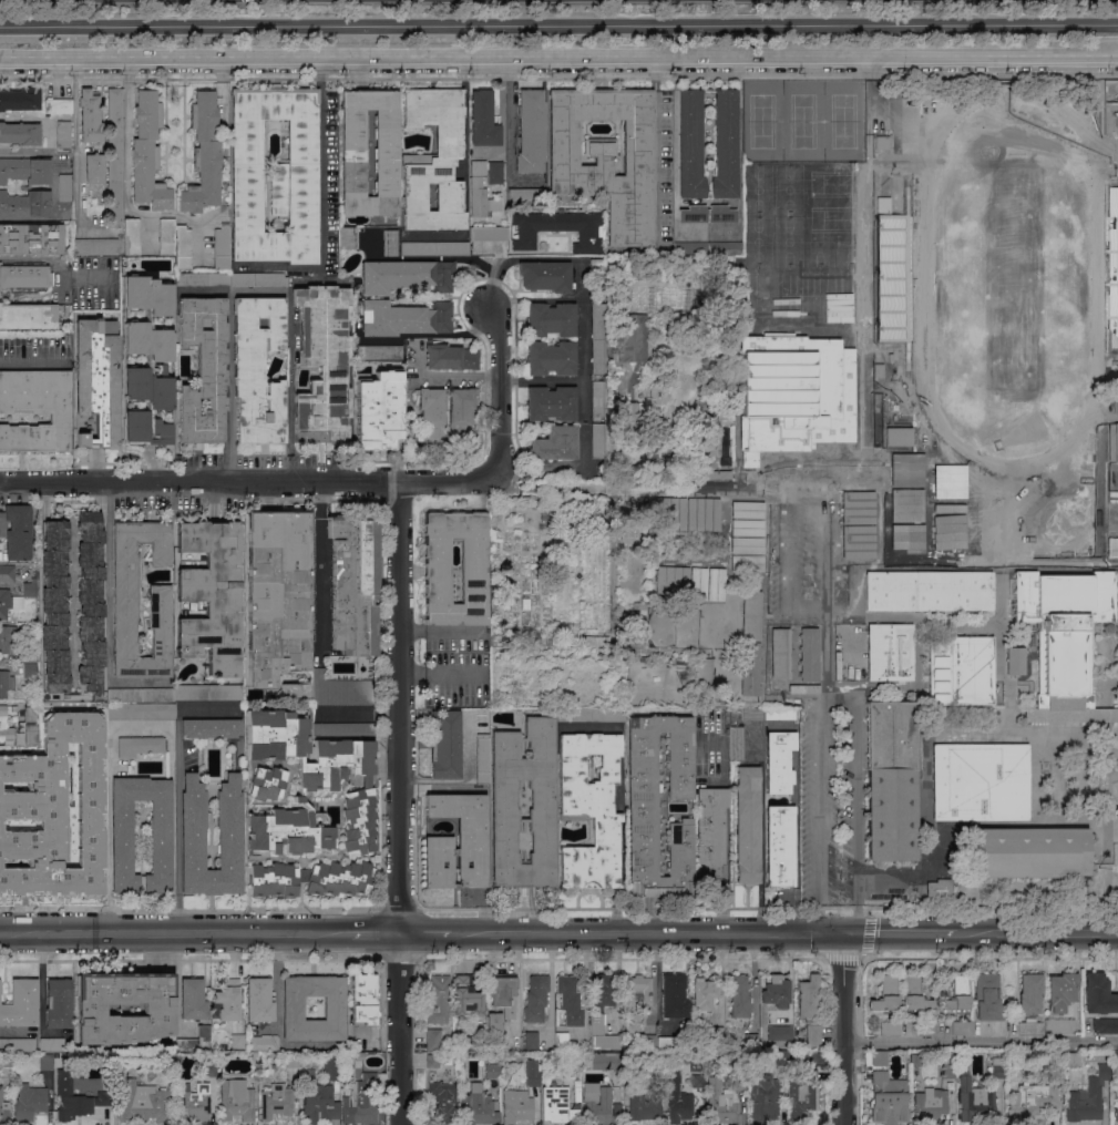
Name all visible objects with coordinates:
road: (558, 55)
road: (558, 76)
building: (20, 99)
building: (59, 105)
park: (1117, 108)
building: (90, 115)
building: (483, 120)
park: (762, 122)
park: (802, 122)
park: (842, 122)
building: (531, 131)
building: (20, 133)
building: (64, 134)
building: (882, 143)
building: (690, 144)
building: (725, 144)
road: (656, 145)
building: (147, 153)
building: (204, 155)
building: (606, 156)
building: (114, 157)
building: (434, 160)
building: (353, 161)
building: (94, 167)
building: (25, 170)
building: (495, 172)
building: (276, 174)
building: (65, 181)
road: (125, 190)
road: (321, 190)
building: (482, 193)
building: (65, 194)
building: (526, 195)
building: (884, 203)
building: (25, 204)
park: (95, 206)
building: (694, 213)
building: (721, 214)
park: (783, 222)
building: (560, 228)
building: (490, 234)
building: (132, 236)
building: (166, 236)
building: (348, 237)
building: (31, 238)
building: (390, 243)
building: (99, 245)
building: (183, 247)
building: (222, 247)
building: (725, 247)
building: (434, 248)
building: (690, 248)
building: (667, 250)
building: (407, 276)
building: (545, 276)
road: (582, 276)
building: (597, 278)
park: (1011, 278)
building: (24, 279)
building: (203, 279)
building: (258, 279)
road: (257, 290)
road: (533, 296)
building: (620, 296)
building: (28, 316)
building: (403, 318)
building: (550, 319)
building: (597, 319)
building: (633, 337)
building: (379, 352)
building: (451, 357)
building: (597, 357)
building: (891, 357)
building: (551, 358)
building: (146, 360)
road: (31, 364)
building: (322, 364)
building: (257, 368)
building: (203, 369)
building: (879, 370)
building: (98, 380)
road: (541, 380)
road: (500, 389)
building: (629, 393)
building: (794, 393)
building: (1116, 396)
building: (597, 399)
track: (1090, 402)
building: (551, 403)
building: (712, 405)
building: (37, 409)
building: (379, 410)
building: (433, 413)
building: (459, 413)
park: (88, 422)
building: (709, 422)
building: (632, 434)
building: (899, 436)
building: (597, 440)
building: (694, 442)
building: (1114, 442)
building: (555, 443)
building: (728, 453)
road: (560, 469)
building: (690, 469)
building: (716, 474)
road: (248, 483)
road: (808, 485)
road: (642, 488)
park: (946, 501)
building: (859, 507)
building: (748, 510)
building: (669, 513)
building: (704, 513)
building: (748, 528)
building: (17, 531)
building: (859, 541)
building: (496, 544)
building: (747, 544)
road: (788, 546)
building: (1112, 546)
building: (0, 555)
building: (747, 563)
road: (933, 564)
road: (319, 565)
building: (438, 570)
building: (27, 572)
building: (7, 573)
building: (353, 582)
building: (673, 582)
building: (699, 583)
building: (716, 584)
building: (31, 587)
building: (929, 590)
building: (211, 594)
building: (276, 594)
building: (90, 600)
building: (17, 601)
building: (125, 601)
building: (4, 602)
building: (55, 606)
road: (109, 610)
building: (643, 612)
road: (806, 612)
road: (841, 612)
road: (922, 614)
building: (751, 615)
building: (633, 623)
road: (439, 628)
building: (7, 638)
building: (594, 640)
building: (1033, 641)
building: (1065, 641)
building: (890, 652)
building: (30, 653)
building: (780, 653)
building: (809, 654)
building: (1016, 661)
building: (702, 668)
building: (750, 668)
building: (30, 669)
building: (961, 671)
road: (440, 672)
building: (6, 683)
road: (841, 685)
building: (340, 689)
building: (295, 691)
building: (208, 692)
building: (141, 694)
road: (820, 708)
building: (141, 709)
road: (358, 713)
building: (30, 714)
building: (592, 714)
building: (753, 714)
building: (780, 714)
building: (6, 725)
road: (140, 727)
building: (212, 728)
building: (342, 728)
building: (845, 728)
road: (1023, 730)
building: (32, 734)
building: (445, 744)
building: (737, 744)
building: (140, 746)
building: (483, 758)
building: (779, 760)
road: (725, 761)
road: (1106, 771)
building: (300, 779)
building: (890, 780)
building: (366, 781)
road: (857, 781)
building: (981, 781)
building: (267, 783)
road: (924, 783)
road: (1073, 784)
road: (726, 797)
building: (543, 798)
road: (398, 804)
building: (643, 804)
building: (592, 809)
building: (54, 810)
building: (359, 821)
building: (748, 825)
road: (1111, 829)
building: (1104, 831)
building: (711, 835)
building: (122, 837)
building: (458, 842)
building: (780, 846)
road: (1097, 848)
building: (229, 849)
building: (1028, 852)
building: (254, 856)
road: (726, 870)
building: (310, 879)
road: (1106, 884)
road: (839, 886)
building: (940, 890)
road: (858, 904)
road: (767, 907)
road: (901, 932)
road: (1037, 932)
road: (175, 933)
road: (375, 933)
road: (424, 933)
road: (647, 933)
road: (279, 982)
building: (776, 991)
building: (1061, 991)
building: (704, 993)
building: (1030, 993)
building: (503, 994)
building: (885, 994)
building: (957, 994)
building: (1098, 994)
building: (739, 995)
building: (808, 995)
building: (915, 995)
building: (468, 996)
building: (674, 996)
building: (988, 996)
building: (194, 999)
building: (365, 999)
building: (439, 999)
building: (536, 999)
building: (629, 999)
building: (229, 1000)
building: (259, 1000)
building: (570, 1001)
building: (21, 1003)
building: (58, 1003)
building: (293, 1008)
building: (157, 1009)
building: (602, 1011)
building: (495, 1023)
building: (1058, 1025)
building: (1106, 1025)
building: (1030, 1026)
building: (683, 1027)
building: (890, 1027)
building: (926, 1027)
building: (963, 1027)
road: (843, 1029)
building: (204, 1031)
building: (780, 1032)
building: (718, 1033)
building: (813, 1036)
building: (433, 1039)
building: (562, 1040)
building: (750, 1040)
building: (237, 1041)
building: (532, 1041)
building: (647, 1041)
road: (981, 1041)
building: (188, 1043)
building: (263, 1043)
building: (669, 1043)
building: (18, 1044)
building: (52, 1044)
building: (360, 1055)
building: (880, 1057)
building: (964, 1057)
building: (779, 1058)
building: (1071, 1058)
building: (8, 1060)
building: (433, 1060)
building: (916, 1060)
building: (1, 1061)
building: (293, 1061)
building: (606, 1061)
building: (47, 1062)
building: (1057, 1064)
building: (334, 1065)
building: (948, 1065)
building: (998, 1067)
building: (211, 1068)
building: (492, 1070)
building: (532, 1072)
building: (11, 1081)
building: (698, 1081)
building: (738, 1082)
building: (592, 1092)
building: (1117, 1093)
building: (578, 1094)
building: (801, 1094)
building: (1114, 1094)
building: (677, 1097)
building: (1088, 1097)
building: (75, 1098)
building: (360, 1098)
building: (763, 1098)
building: (889, 1098)
building: (974, 1098)
building: (1036, 1098)
building: (237, 1100)
building: (196, 1101)
building: (277, 1101)
building: (444, 1101)
building: (30, 1102)
building: (144, 1102)
building: (721, 1102)
building: (319, 1103)
building: (930, 1104)
building: (558, 1105)
building: (3, 1106)
building: (517, 1106)
building: (644, 1106)
building: (478, 1107)
building: (604, 1109)
building: (1116, 1114)

